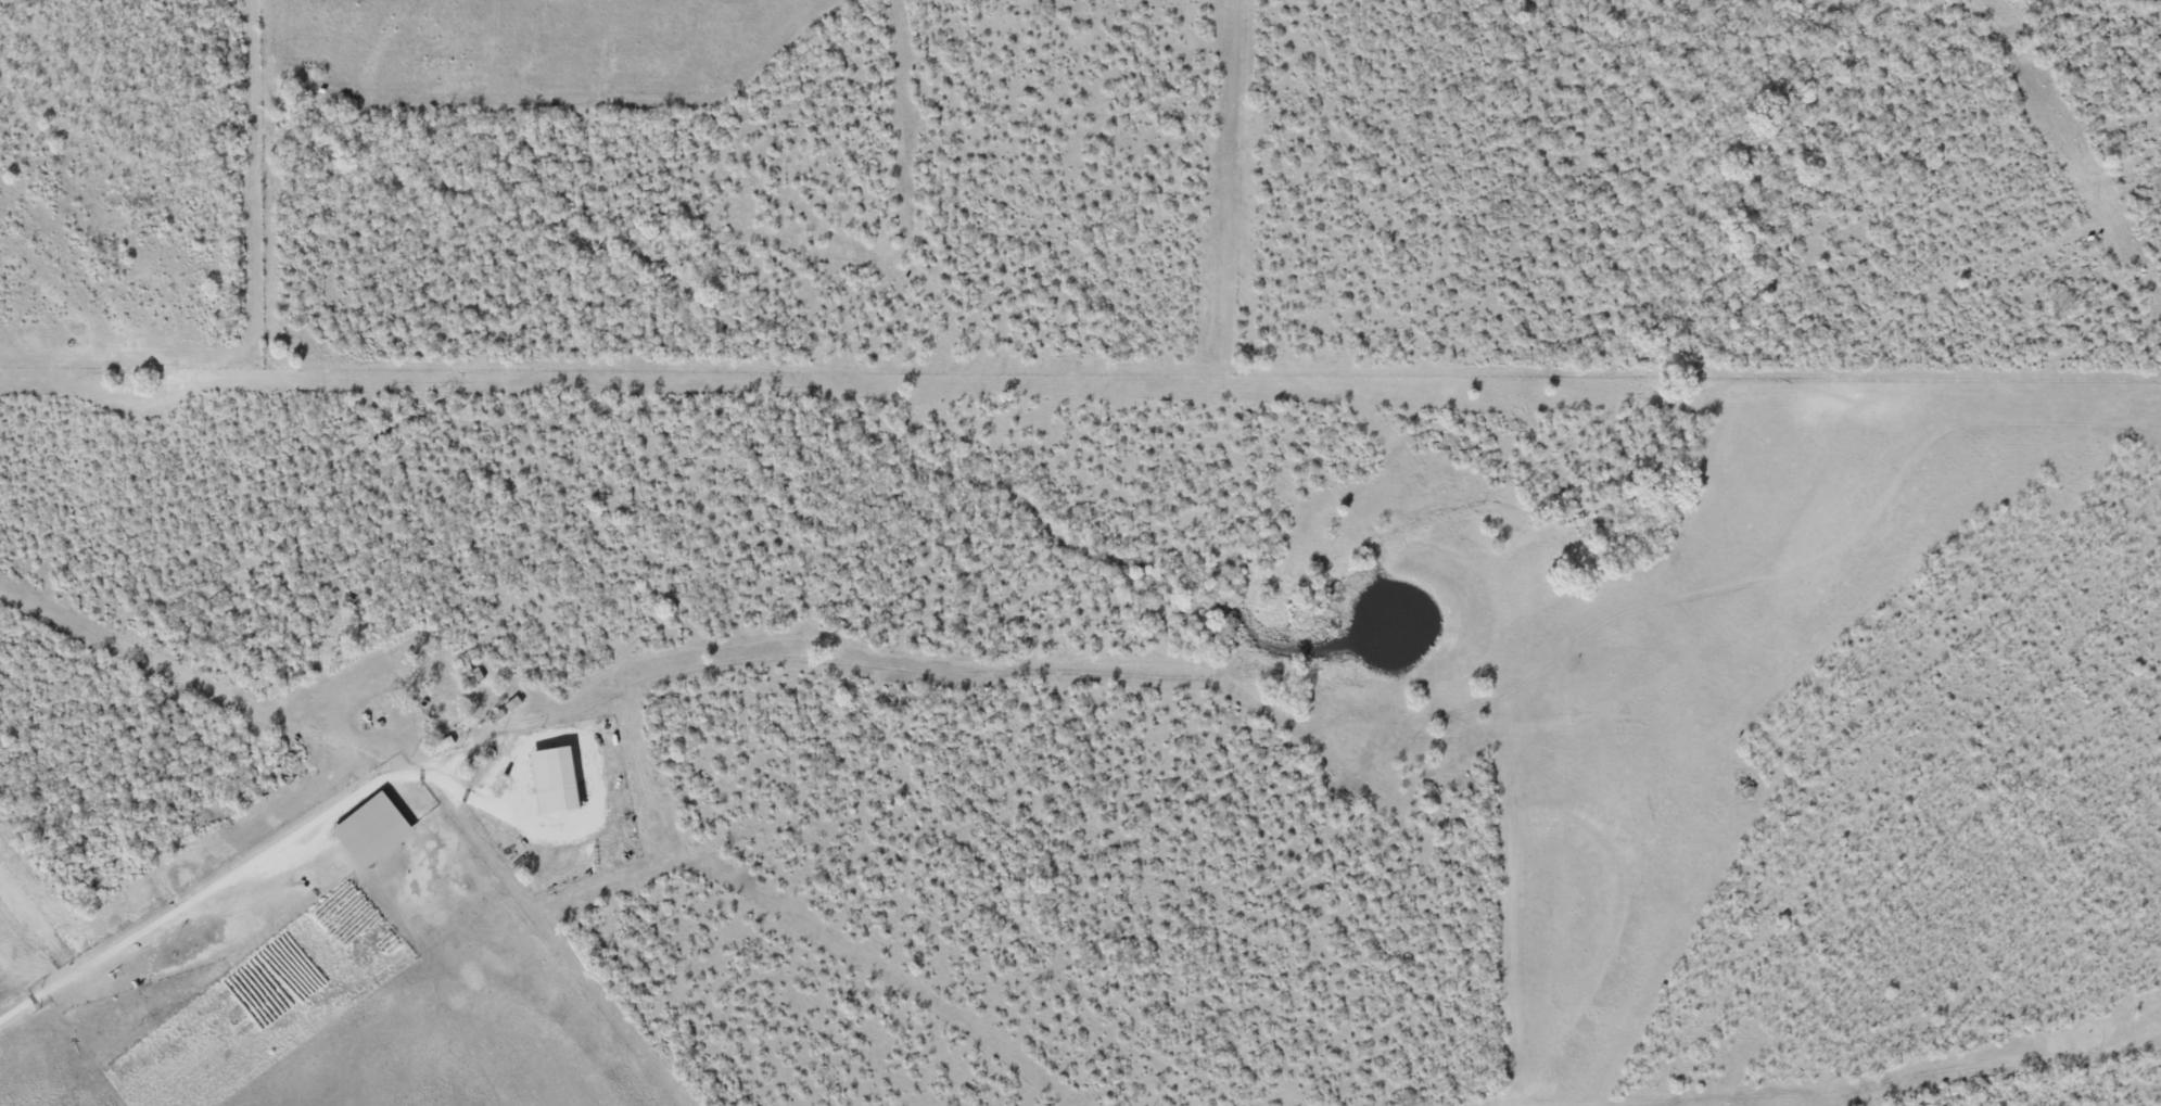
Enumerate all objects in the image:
road: (192, 913)

